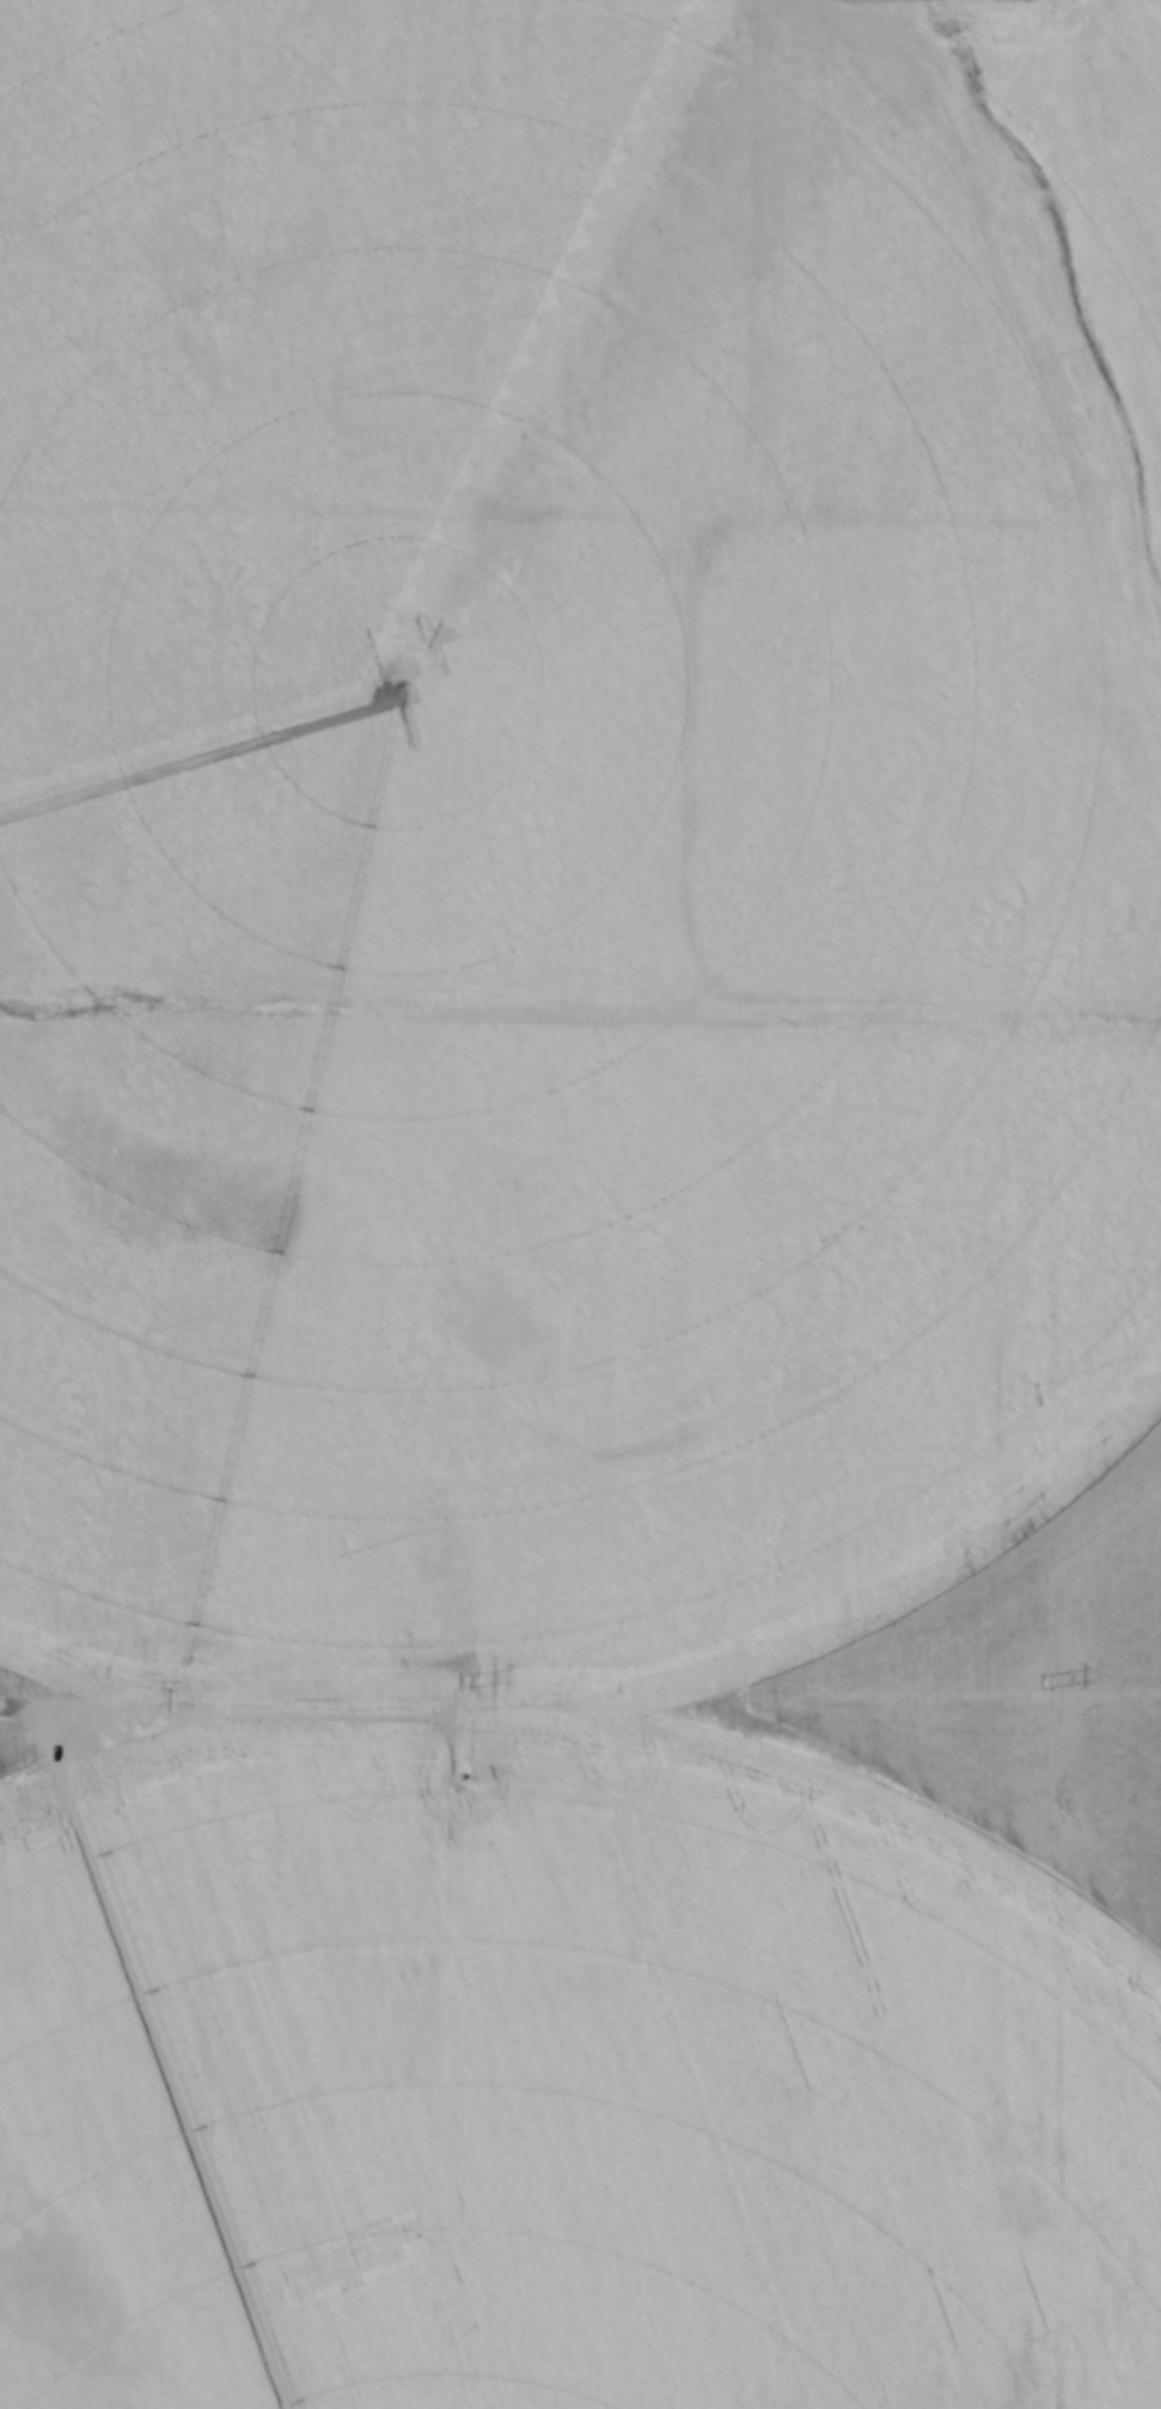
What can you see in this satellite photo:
power tower: (464, 1678)
power tower: (1046, 1682)

